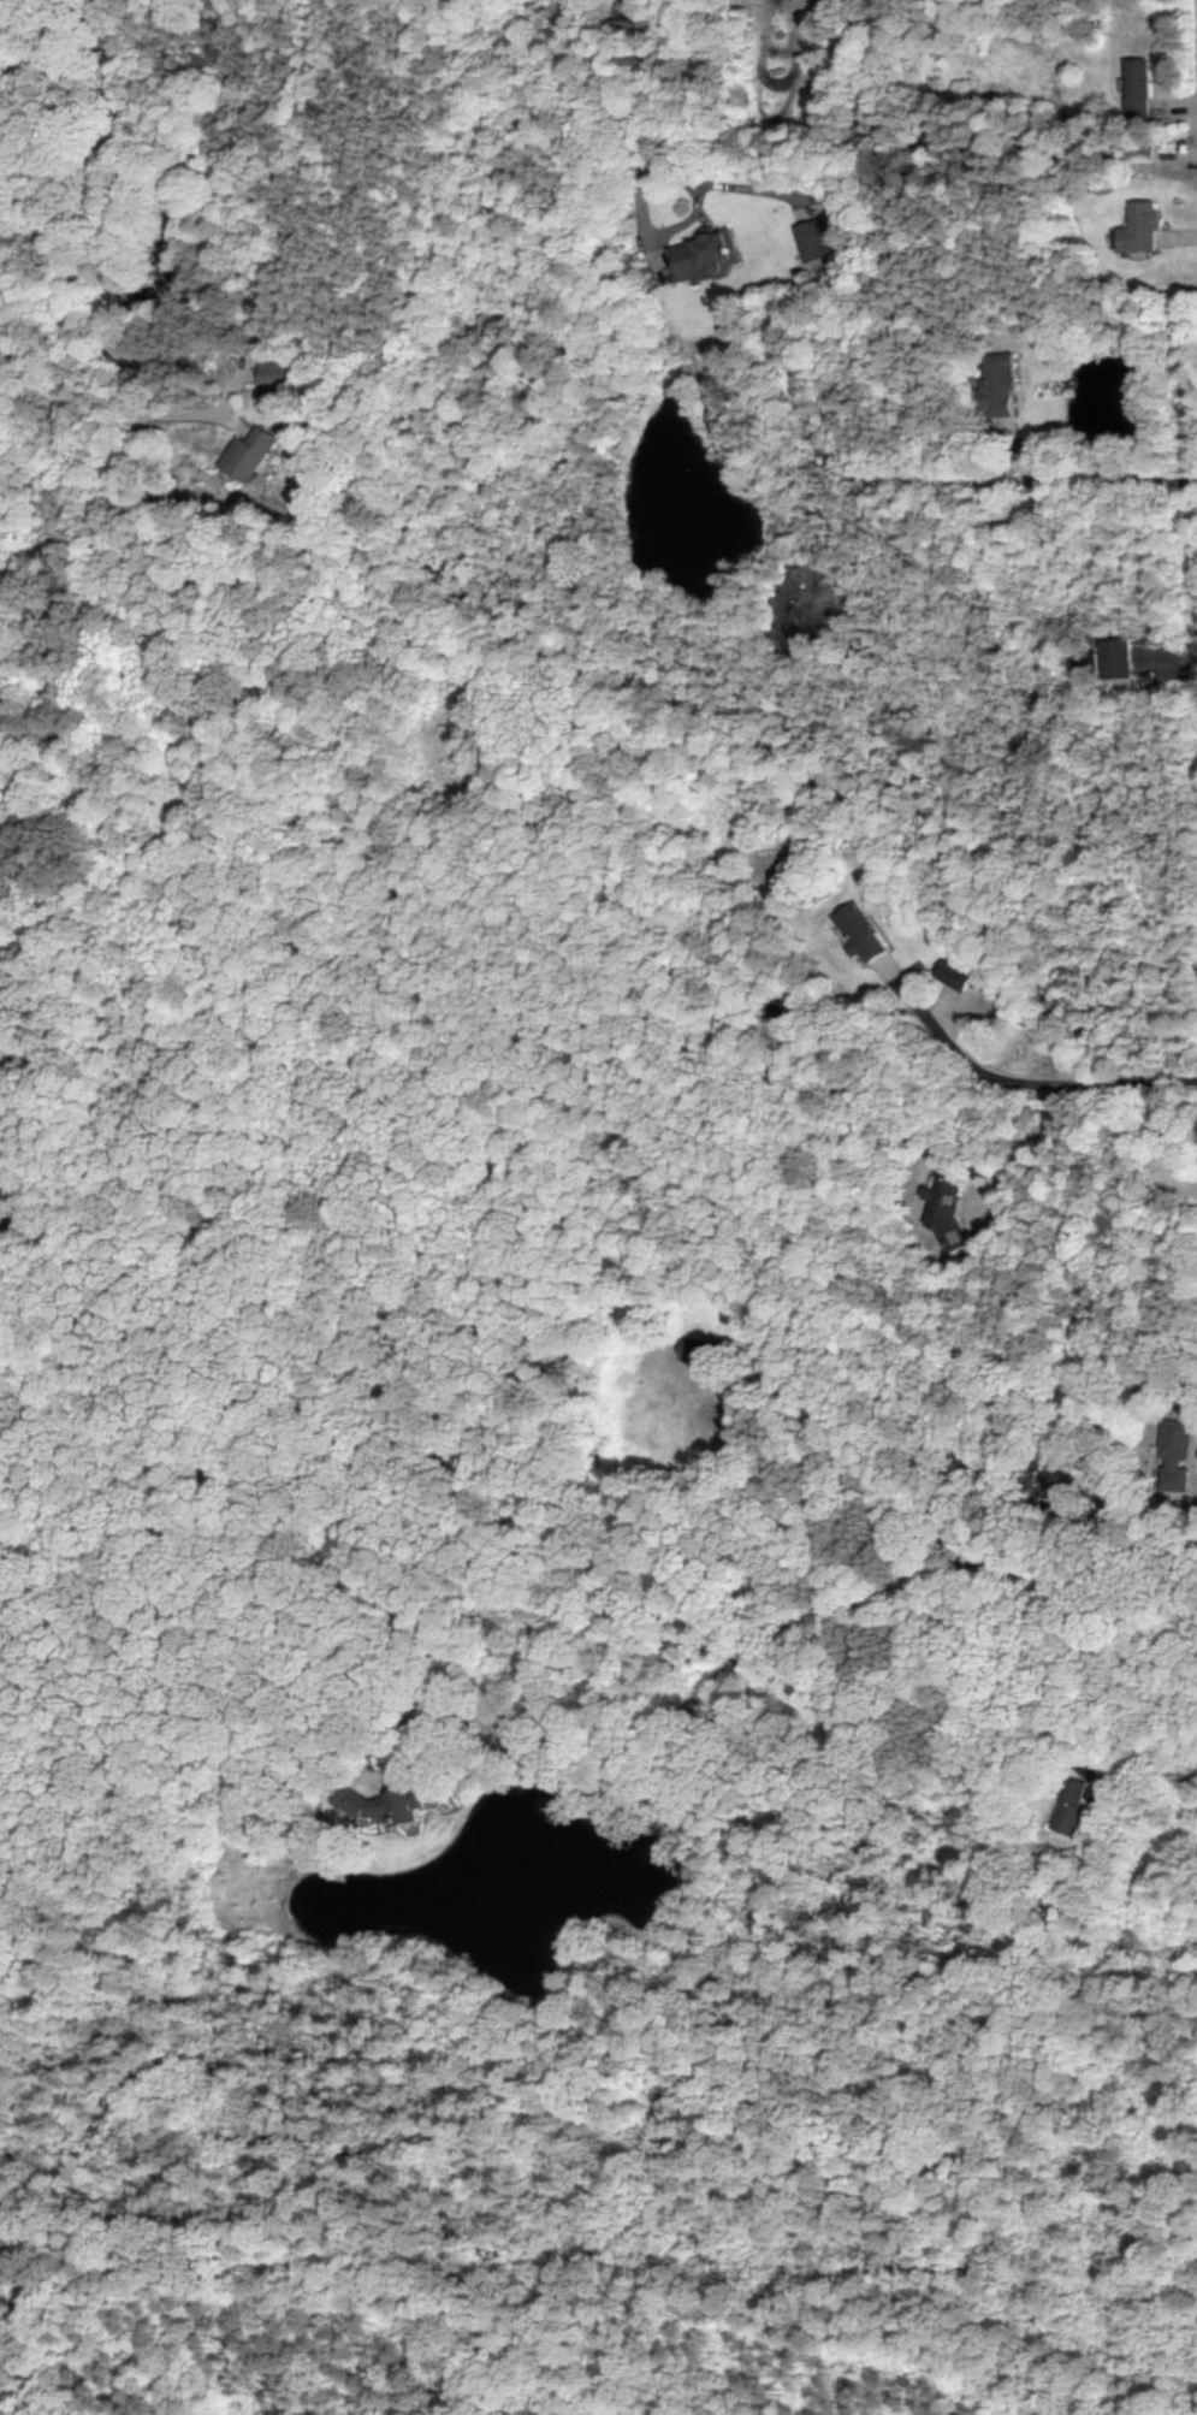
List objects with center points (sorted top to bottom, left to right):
road: (46, 55)
road: (640, 84)
building: (1132, 87)
building: (1138, 154)
road: (718, 178)
road: (113, 193)
road: (666, 217)
building: (1134, 227)
building: (811, 238)
building: (703, 254)
building: (271, 374)
building: (995, 384)
road: (194, 410)
building: (245, 452)
road: (1114, 470)
building: (1113, 658)
building: (860, 933)
building: (953, 973)
road: (1026, 1083)
road: (1033, 1159)
building: (946, 1207)
building: (1174, 1452)
road: (783, 1616)
road: (1156, 1775)
building: (379, 1804)
building: (1067, 1806)

